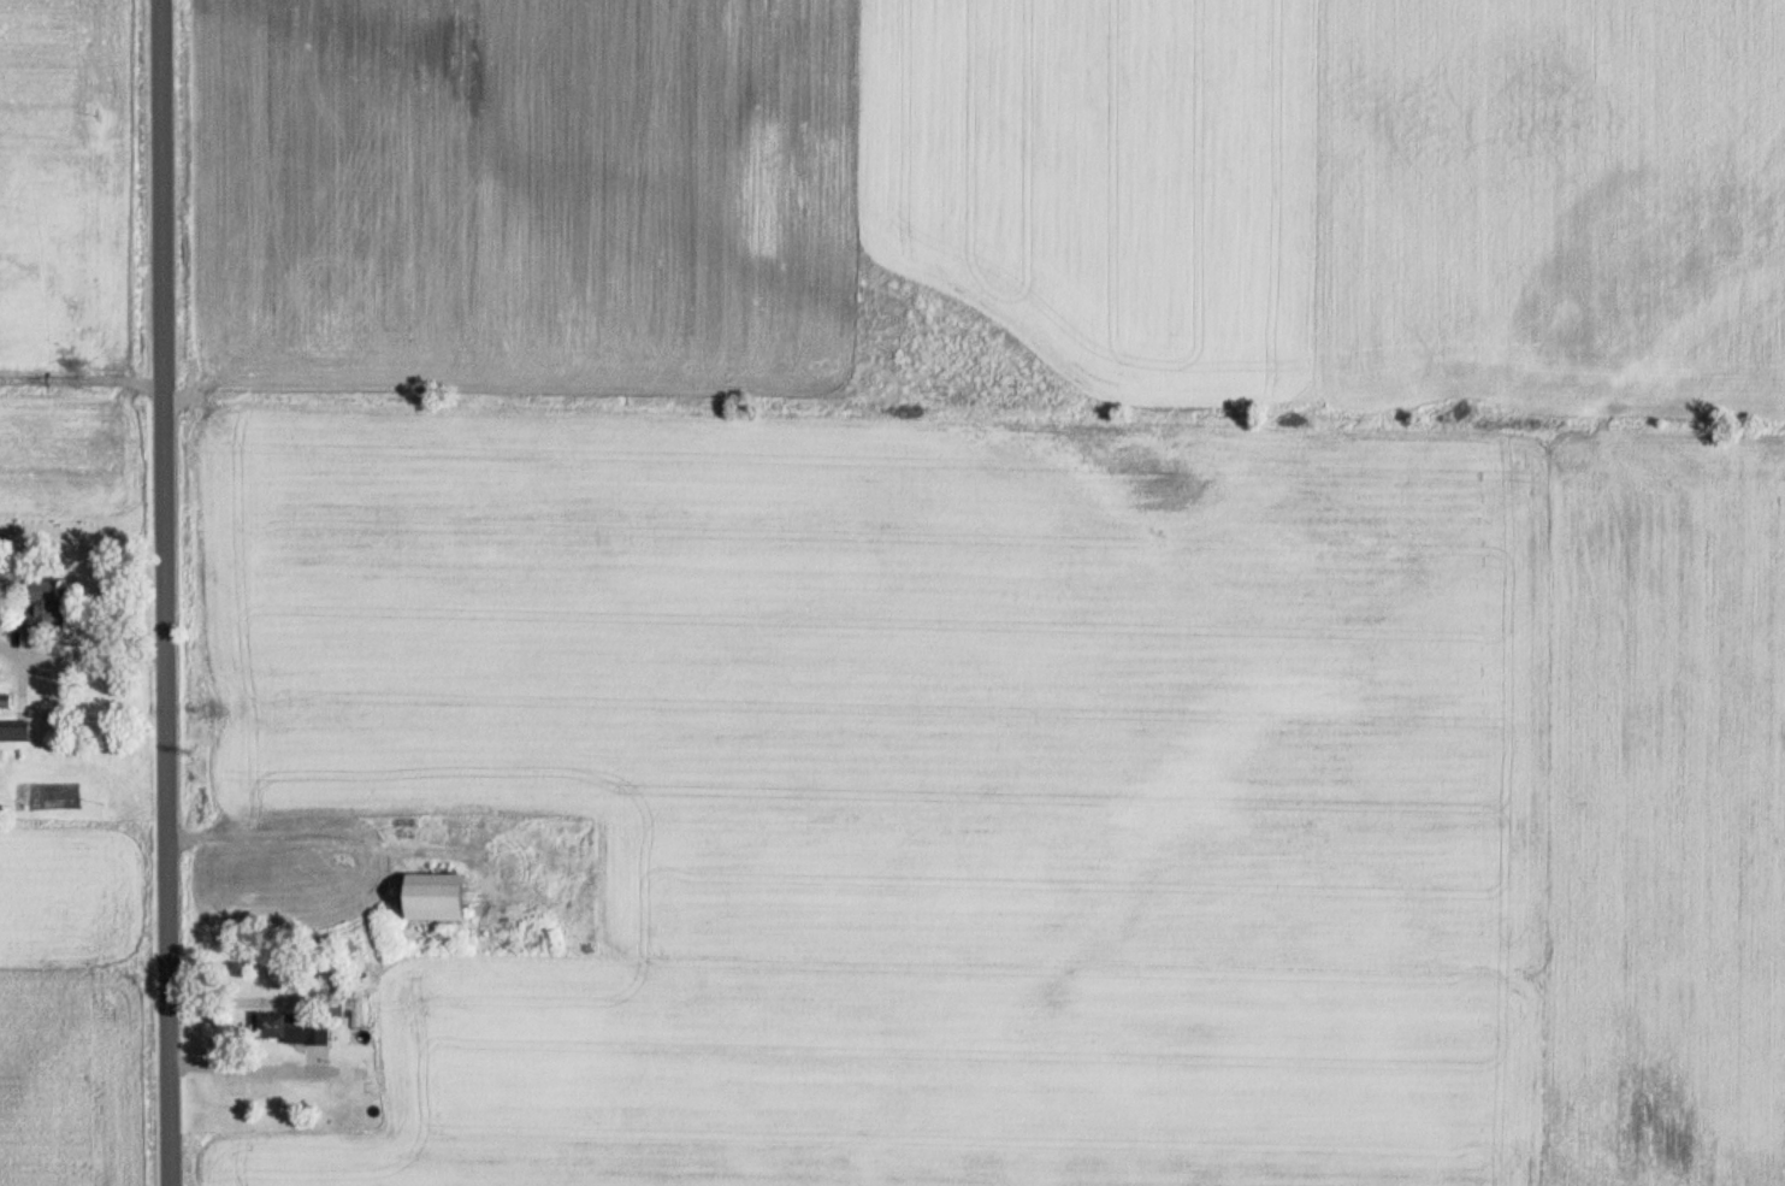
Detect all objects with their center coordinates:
road: (165, 592)
building: (42, 602)
building: (4, 702)
building: (13, 731)
building: (430, 897)
building: (330, 1008)
building: (279, 1025)

